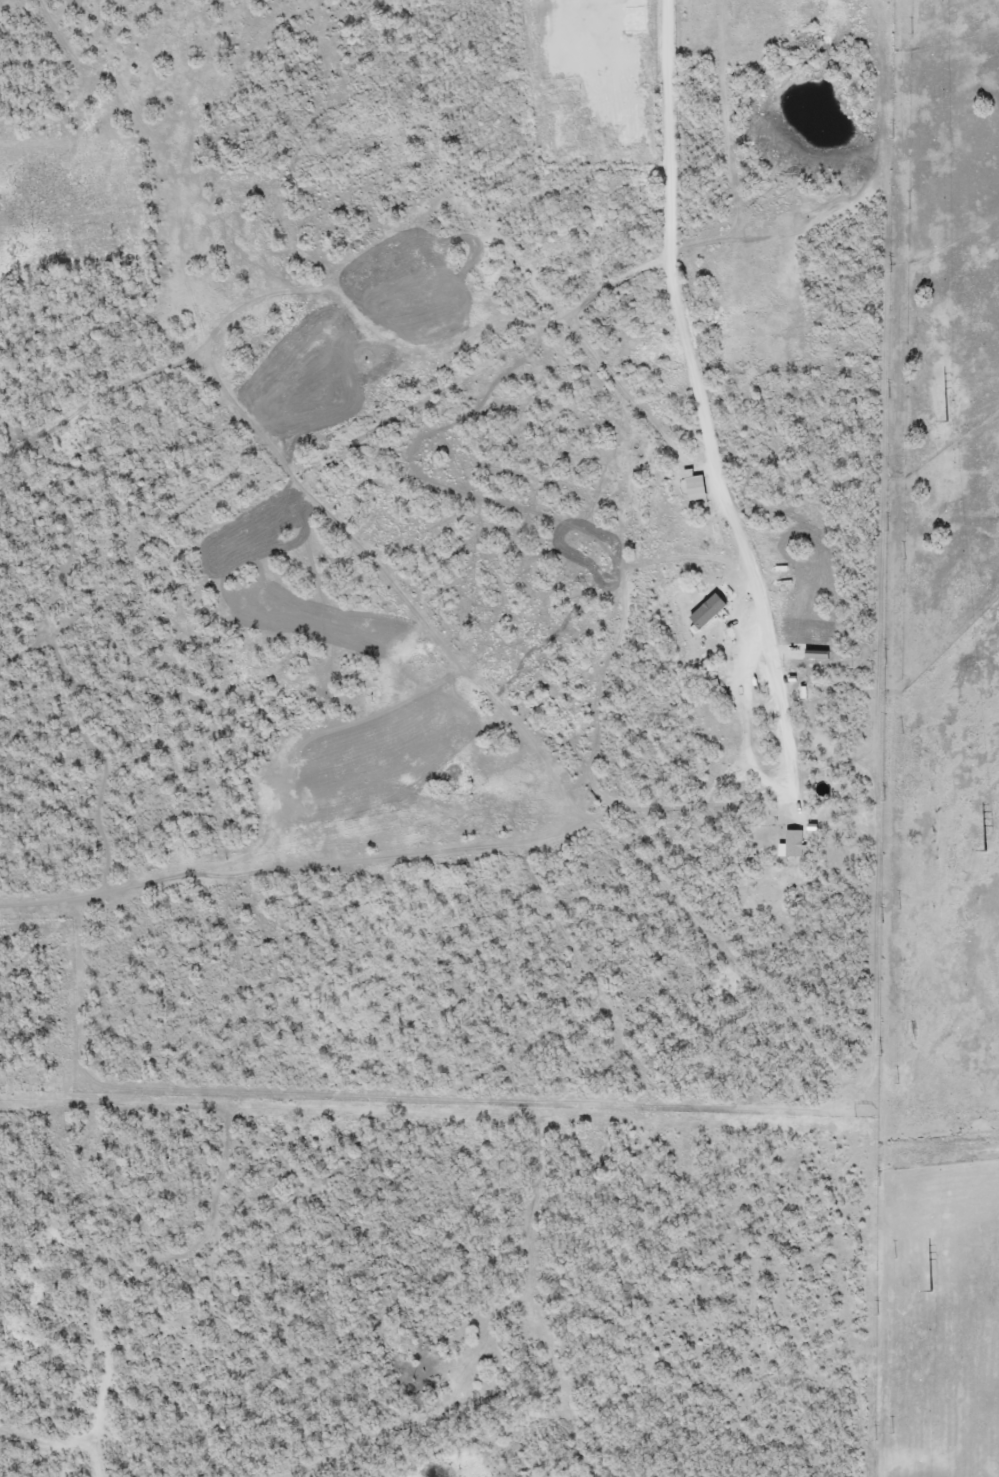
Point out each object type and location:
power tower: (947, 421)
building: (793, 843)
power tower: (985, 854)
power tower: (932, 1293)

